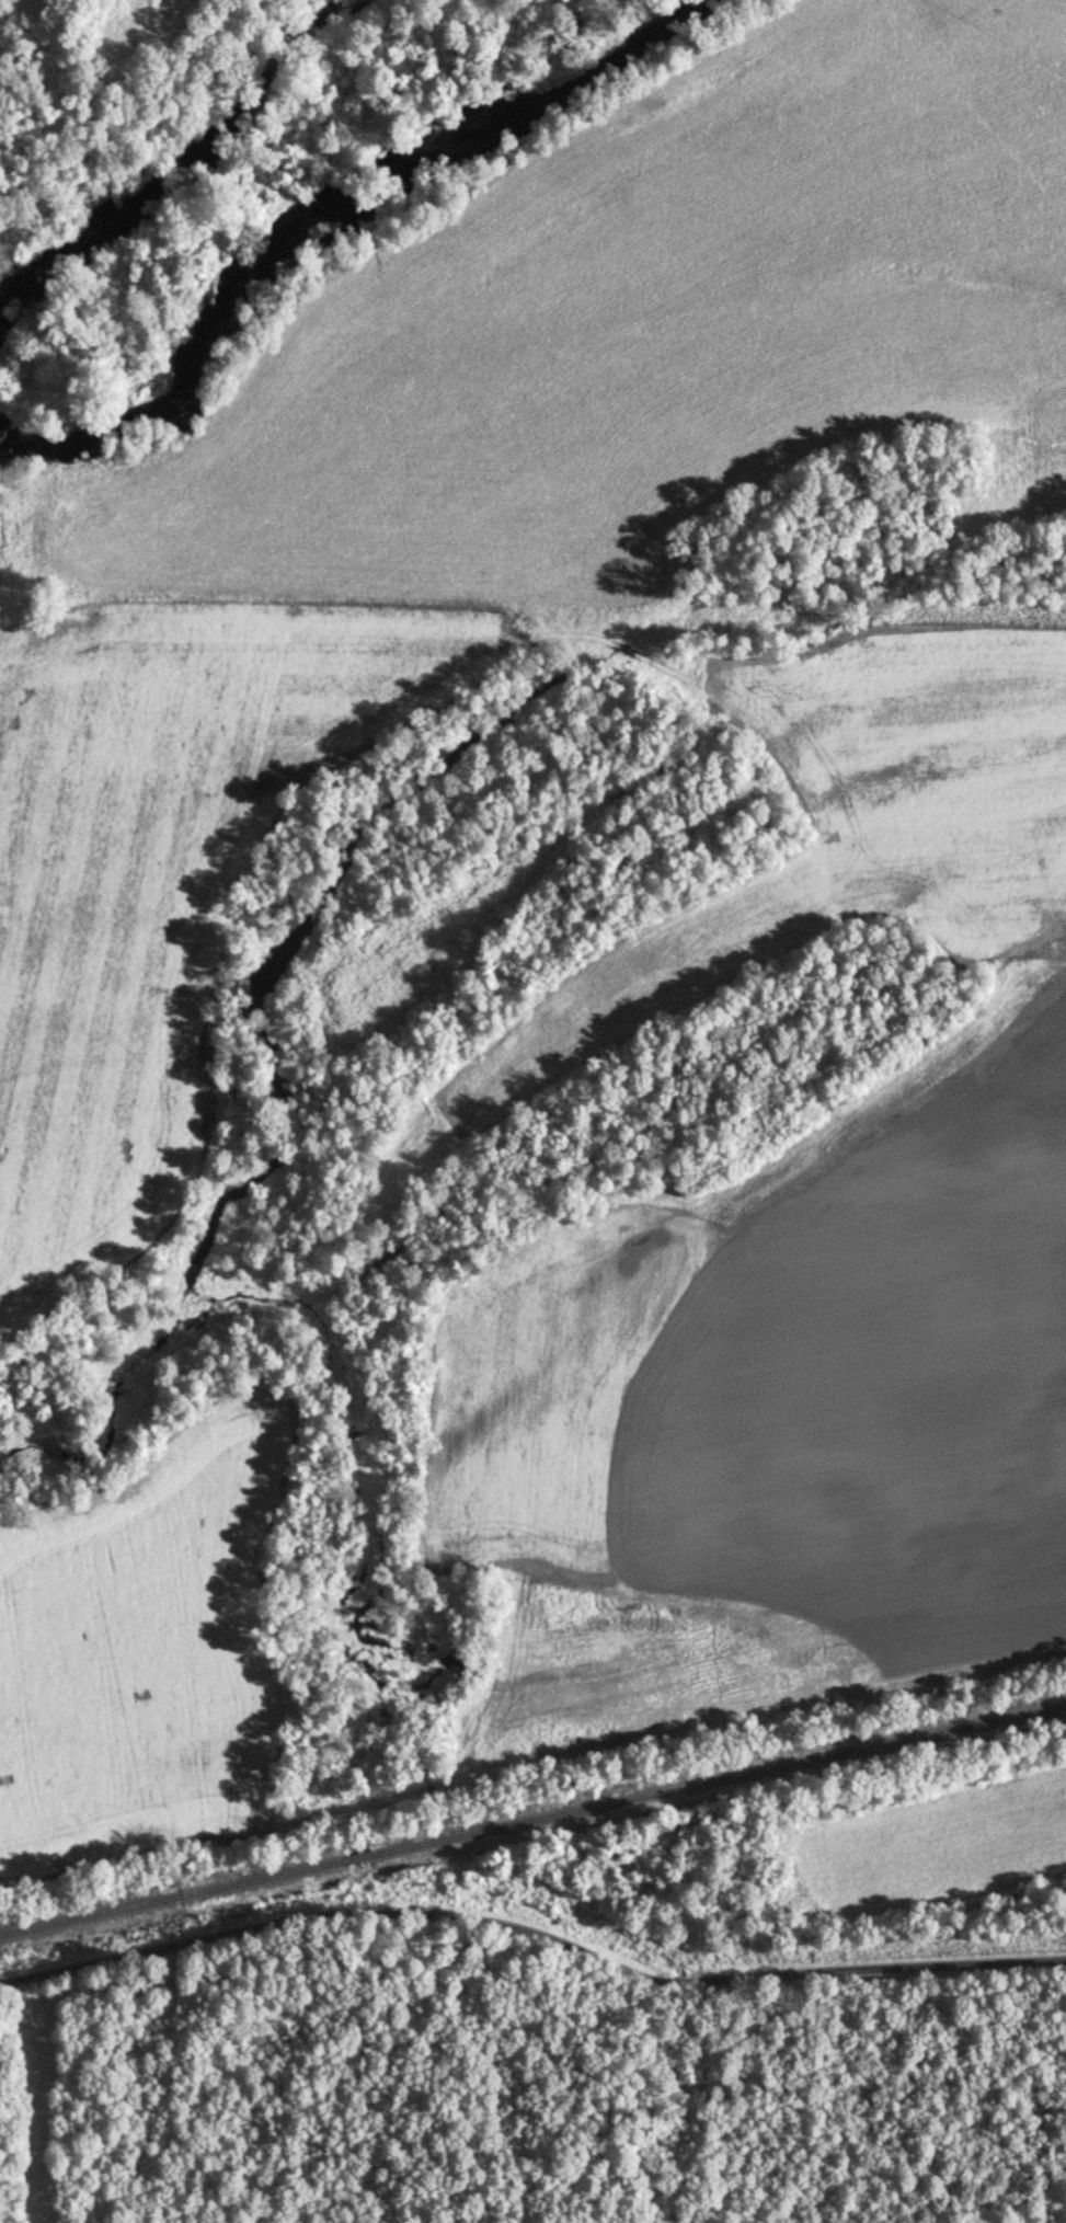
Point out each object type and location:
railway: (532, 1818)
road: (531, 1929)

